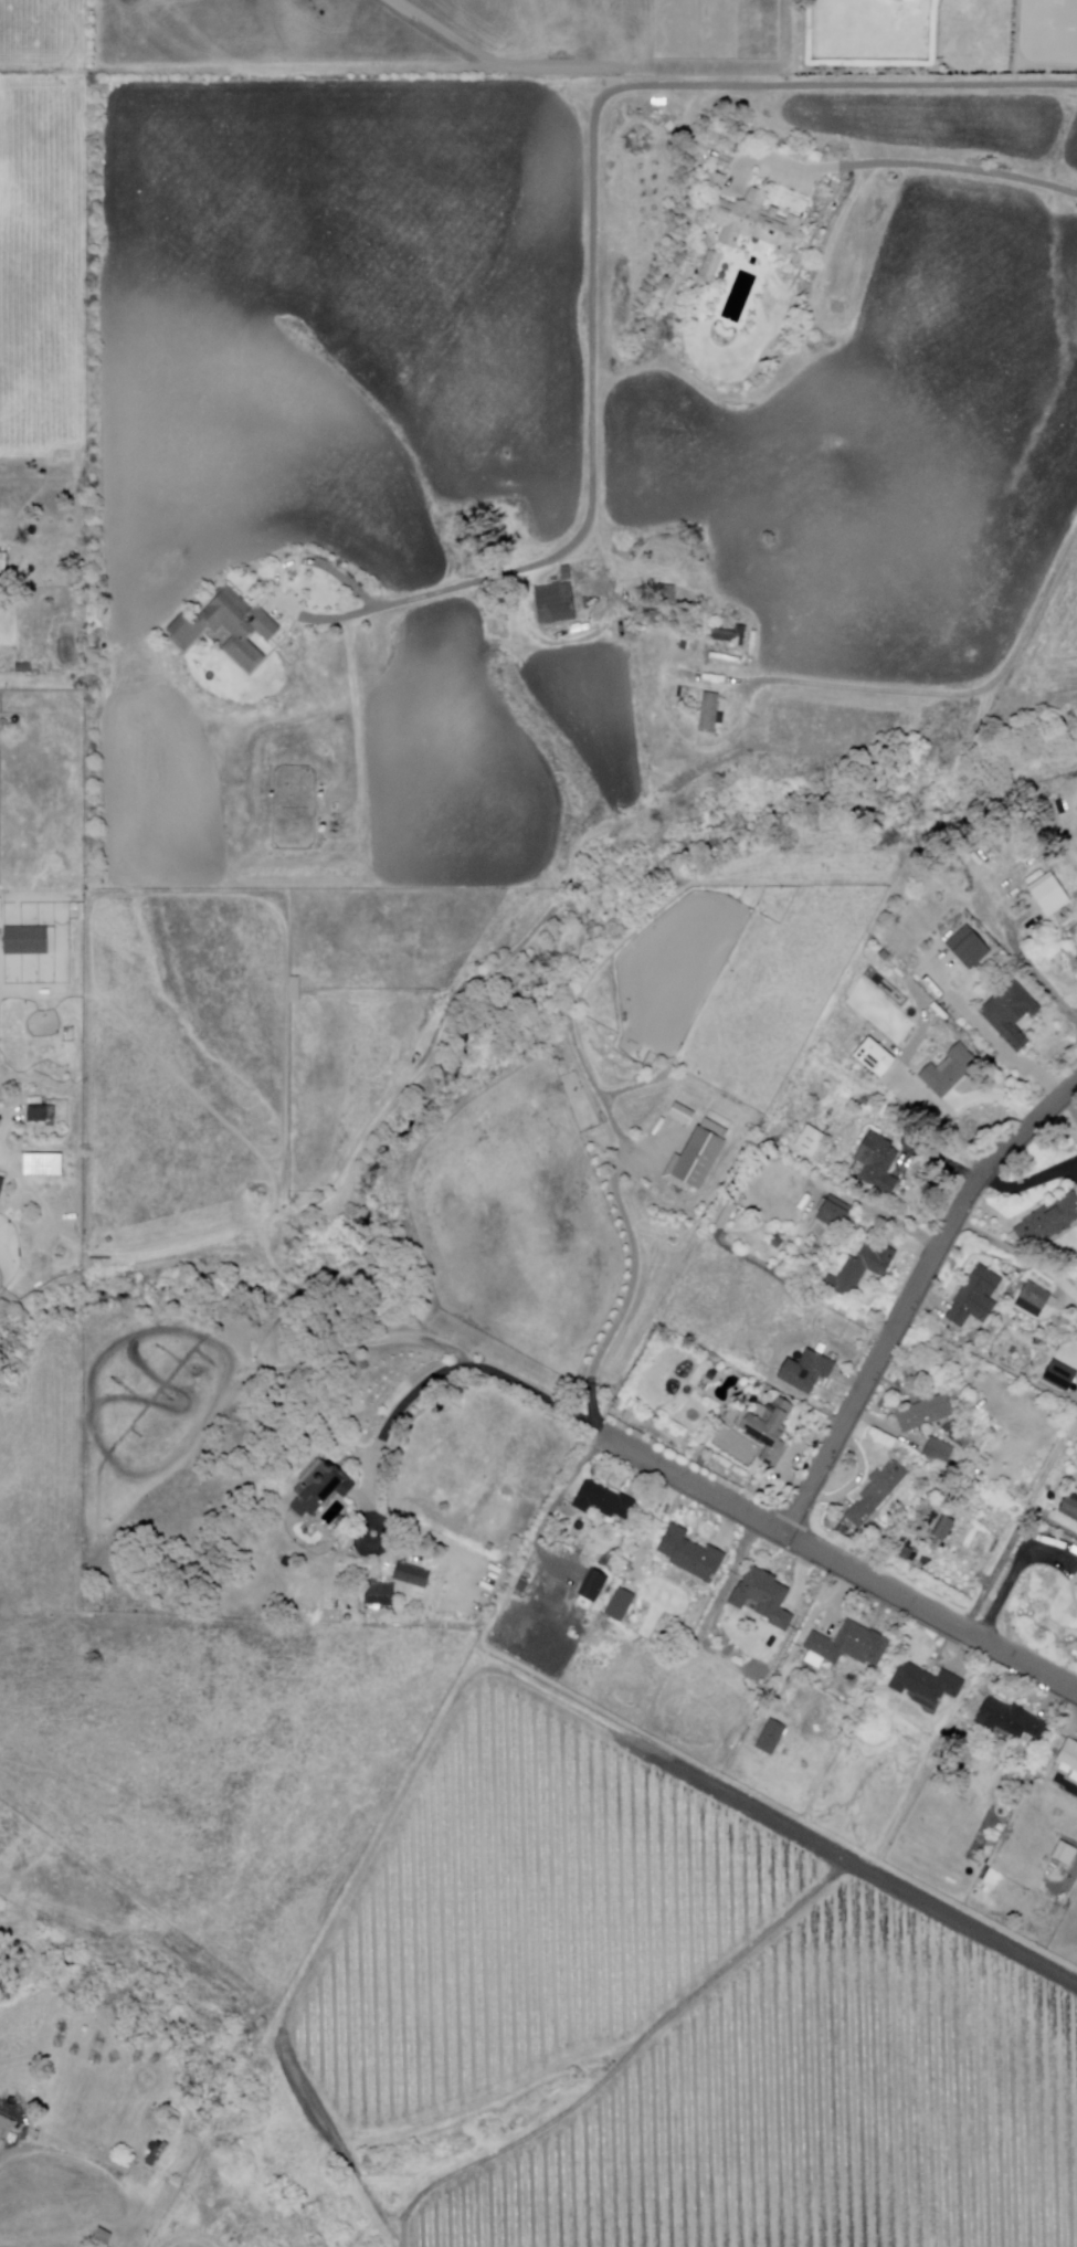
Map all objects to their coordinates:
road: (622, 83)
road: (918, 168)
building: (718, 182)
building: (759, 223)
building: (712, 267)
building: (3, 561)
building: (568, 573)
building: (672, 594)
building: (557, 604)
road: (372, 611)
building: (229, 627)
building: (732, 635)
building: (756, 644)
building: (728, 658)
storage tank: (104, 662)
building: (24, 668)
storage tank: (74, 678)
road: (825, 684)
building: (711, 714)
storage tank: (4, 724)
road: (359, 731)
building: (1050, 893)
building: (27, 939)
building: (967, 948)
building: (1076, 963)
building: (296, 990)
building: (1009, 1013)
building: (872, 1058)
road: (581, 1059)
building: (948, 1069)
building: (39, 1115)
building: (809, 1140)
building: (698, 1154)
building: (876, 1162)
building: (43, 1165)
building: (1, 1186)
building: (833, 1213)
building: (1047, 1221)
building: (775, 1243)
building: (859, 1267)
road: (915, 1296)
building: (973, 1297)
building: (1032, 1299)
building: (819, 1349)
road: (451, 1369)
building: (803, 1372)
building: (1057, 1375)
building: (629, 1405)
building: (635, 1407)
building: (922, 1414)
building: (768, 1432)
park: (736, 1446)
building: (937, 1452)
building: (323, 1487)
building: (875, 1492)
building: (601, 1500)
building: (1068, 1507)
building: (931, 1520)
road: (1021, 1525)
building: (940, 1530)
building: (688, 1554)
road: (840, 1563)
building: (413, 1575)
building: (524, 1585)
building: (589, 1586)
building: (1076, 1590)
building: (380, 1595)
building: (762, 1597)
building: (617, 1606)
storage tank: (349, 1618)
building: (849, 1645)
building: (923, 1685)
building: (743, 1692)
building: (1009, 1718)
building: (769, 1738)
building: (1068, 1757)
building: (1076, 1777)
road: (374, 1853)
building: (1062, 1854)
road: (718, 1977)
building: (6, 2129)
building: (170, 2151)
building: (147, 2153)
building: (154, 2158)
road: (360, 2183)
building: (103, 2238)
road: (190, 2244)

